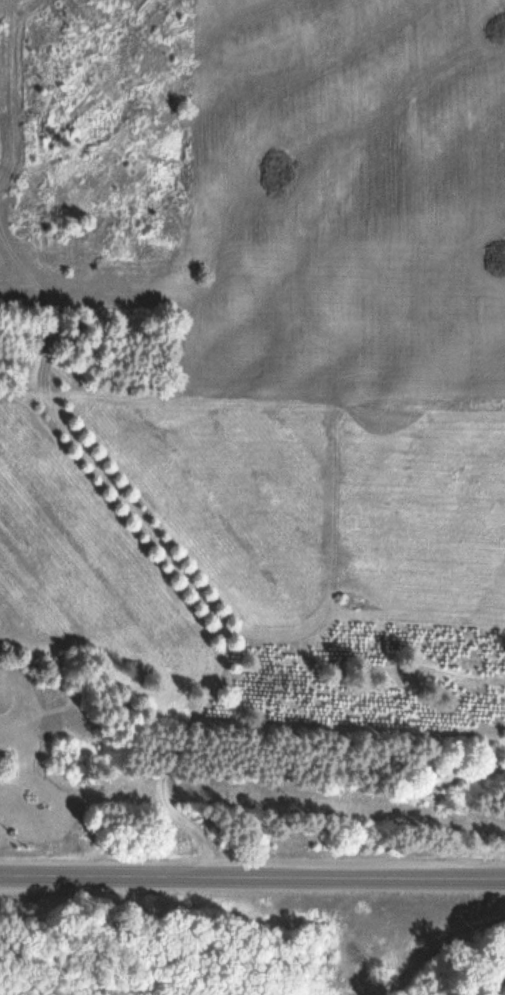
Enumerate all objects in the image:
road: (252, 877)

